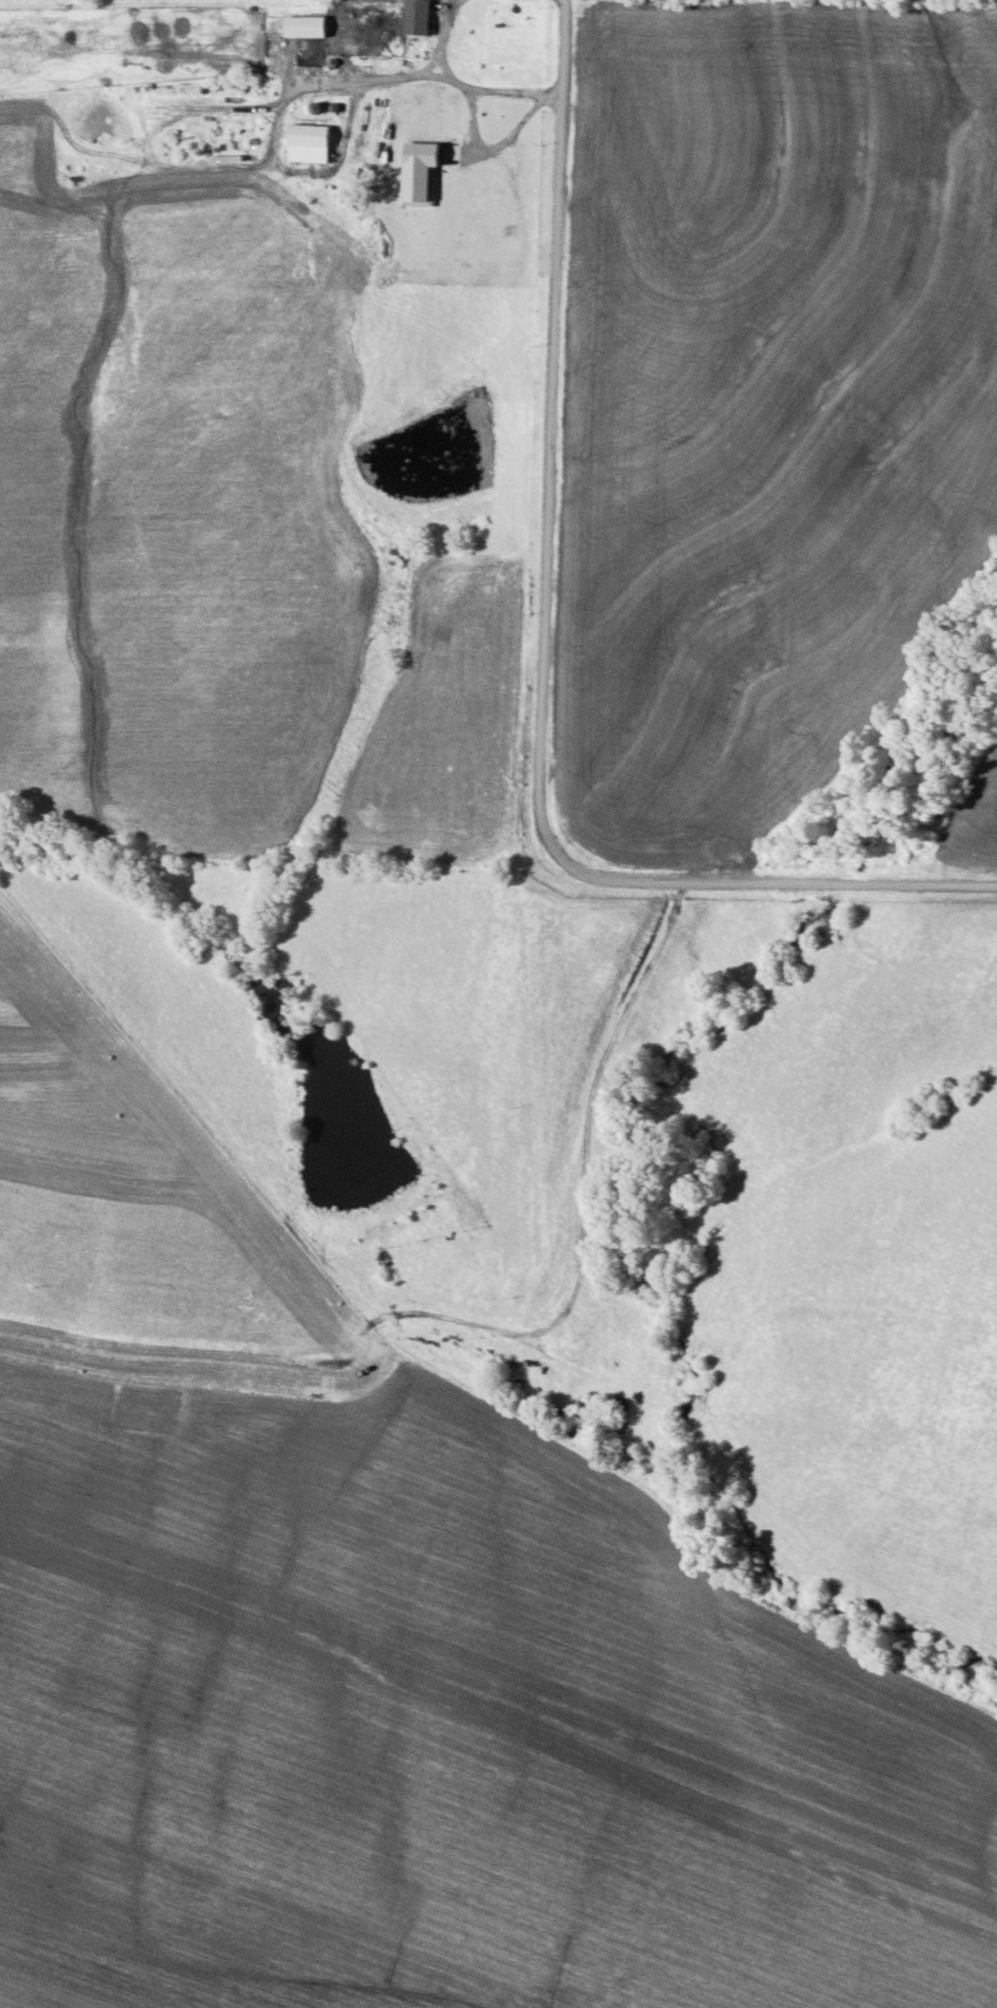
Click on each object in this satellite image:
building: (419, 17)
building: (307, 27)
road: (570, 478)
road: (840, 900)
road: (507, 1363)
crop: (391, 1647)

